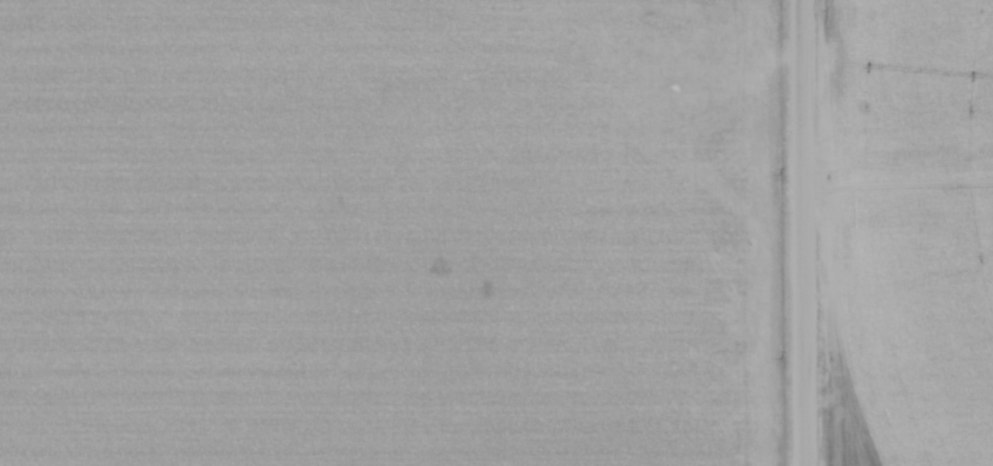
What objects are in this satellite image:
road: (801, 233)

